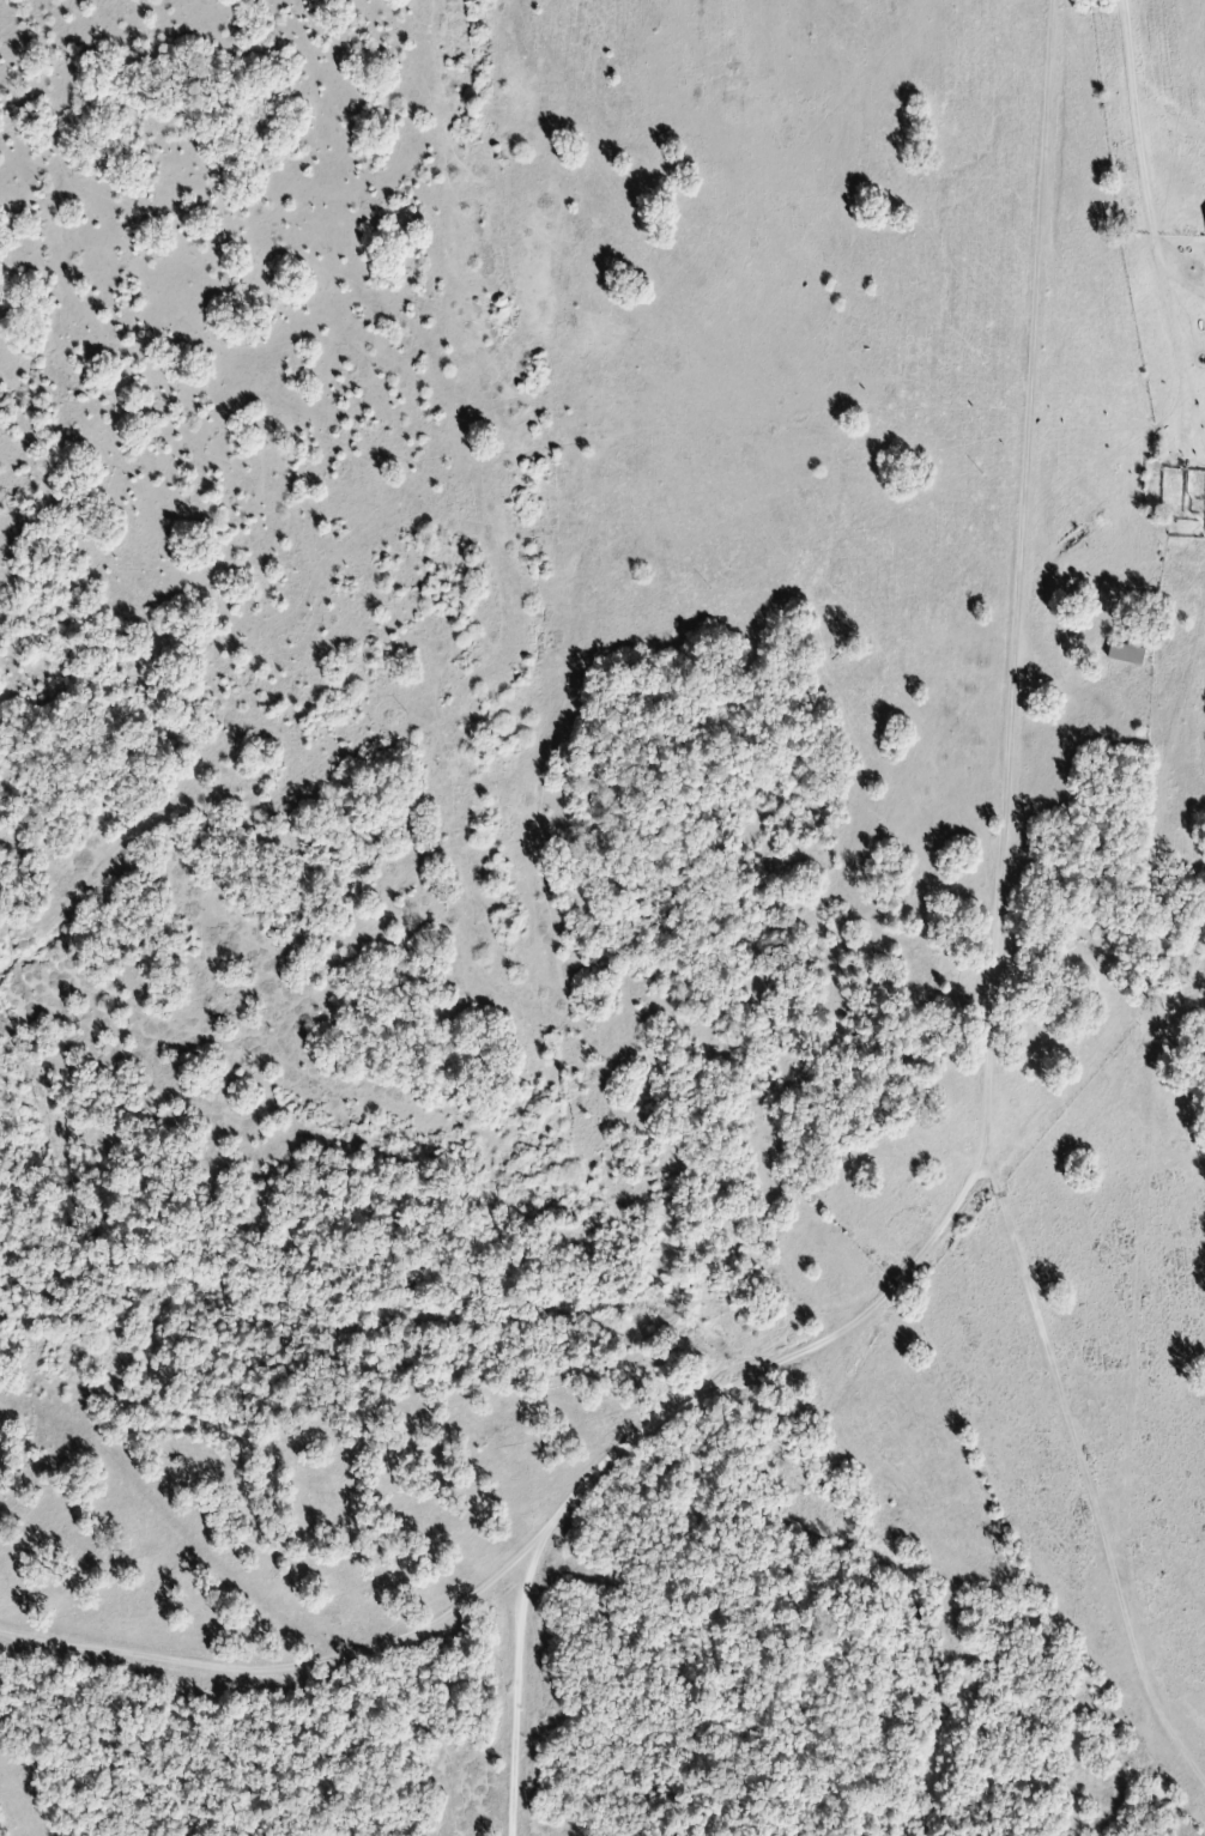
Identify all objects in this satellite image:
building: (1127, 654)

